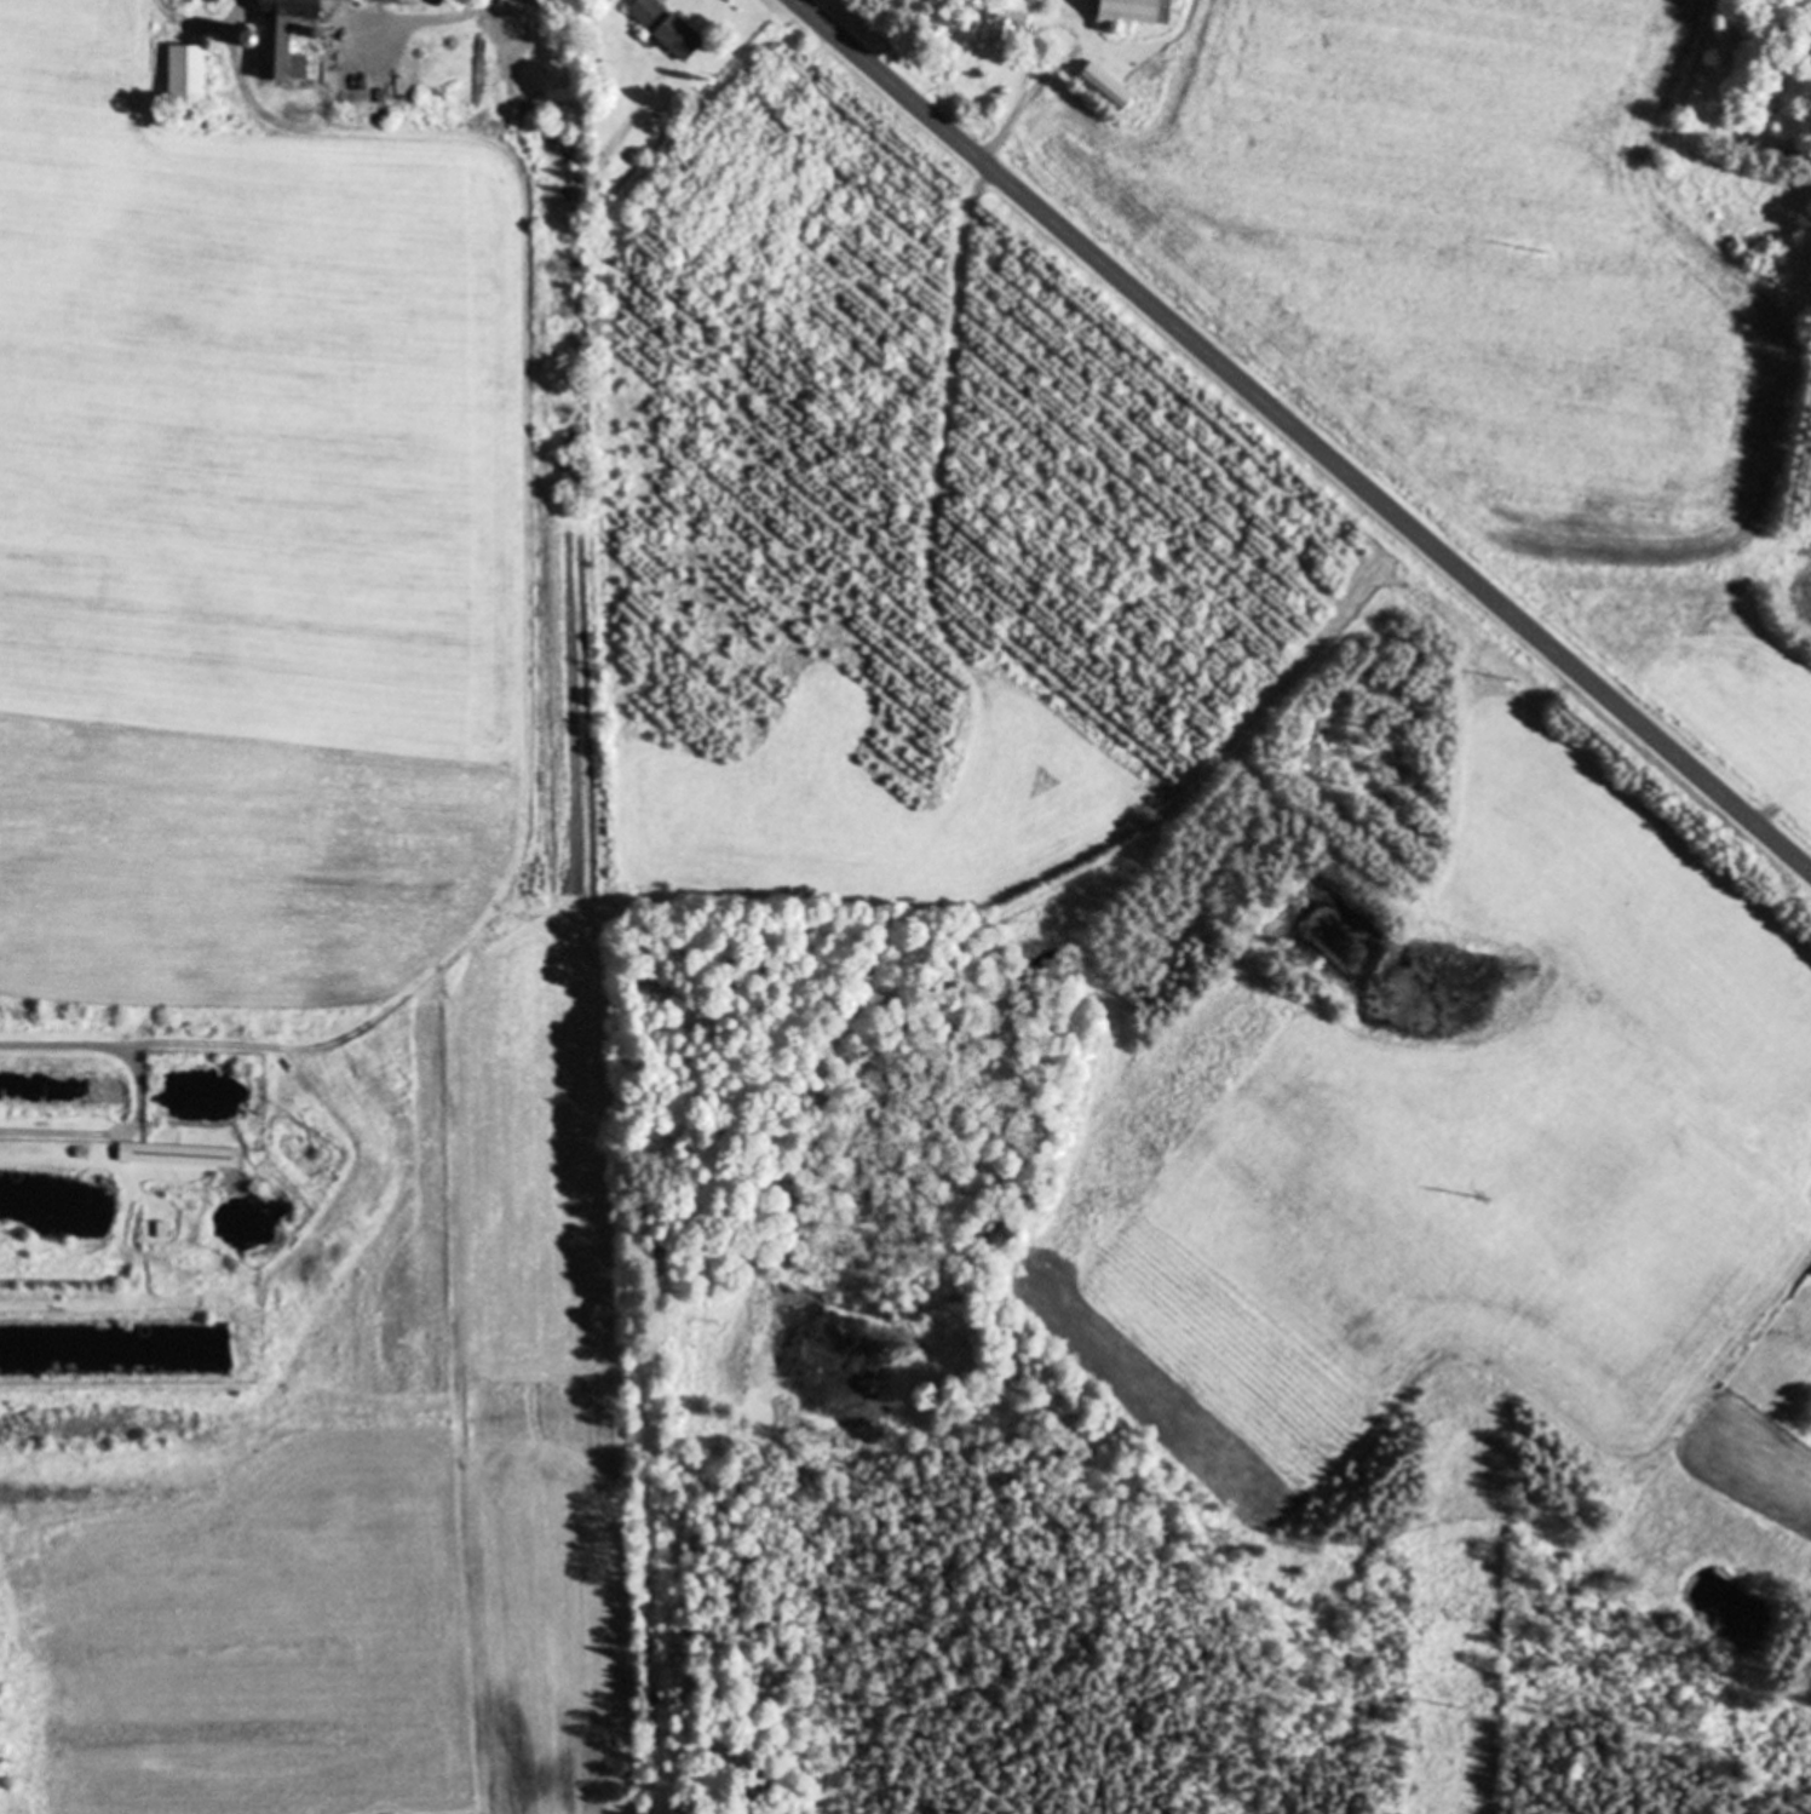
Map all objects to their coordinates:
building: (649, 12)
building: (1137, 12)
building: (288, 30)
building: (683, 39)
road: (1031, 59)
building: (362, 64)
road: (1057, 71)
building: (191, 78)
building: (1110, 86)
road: (1000, 136)
power tower: (1537, 247)
road: (1303, 434)
road: (528, 558)
power tower: (1514, 682)
road: (140, 1092)
building: (182, 1155)
power tower: (1484, 1196)
power tower: (1455, 1705)

